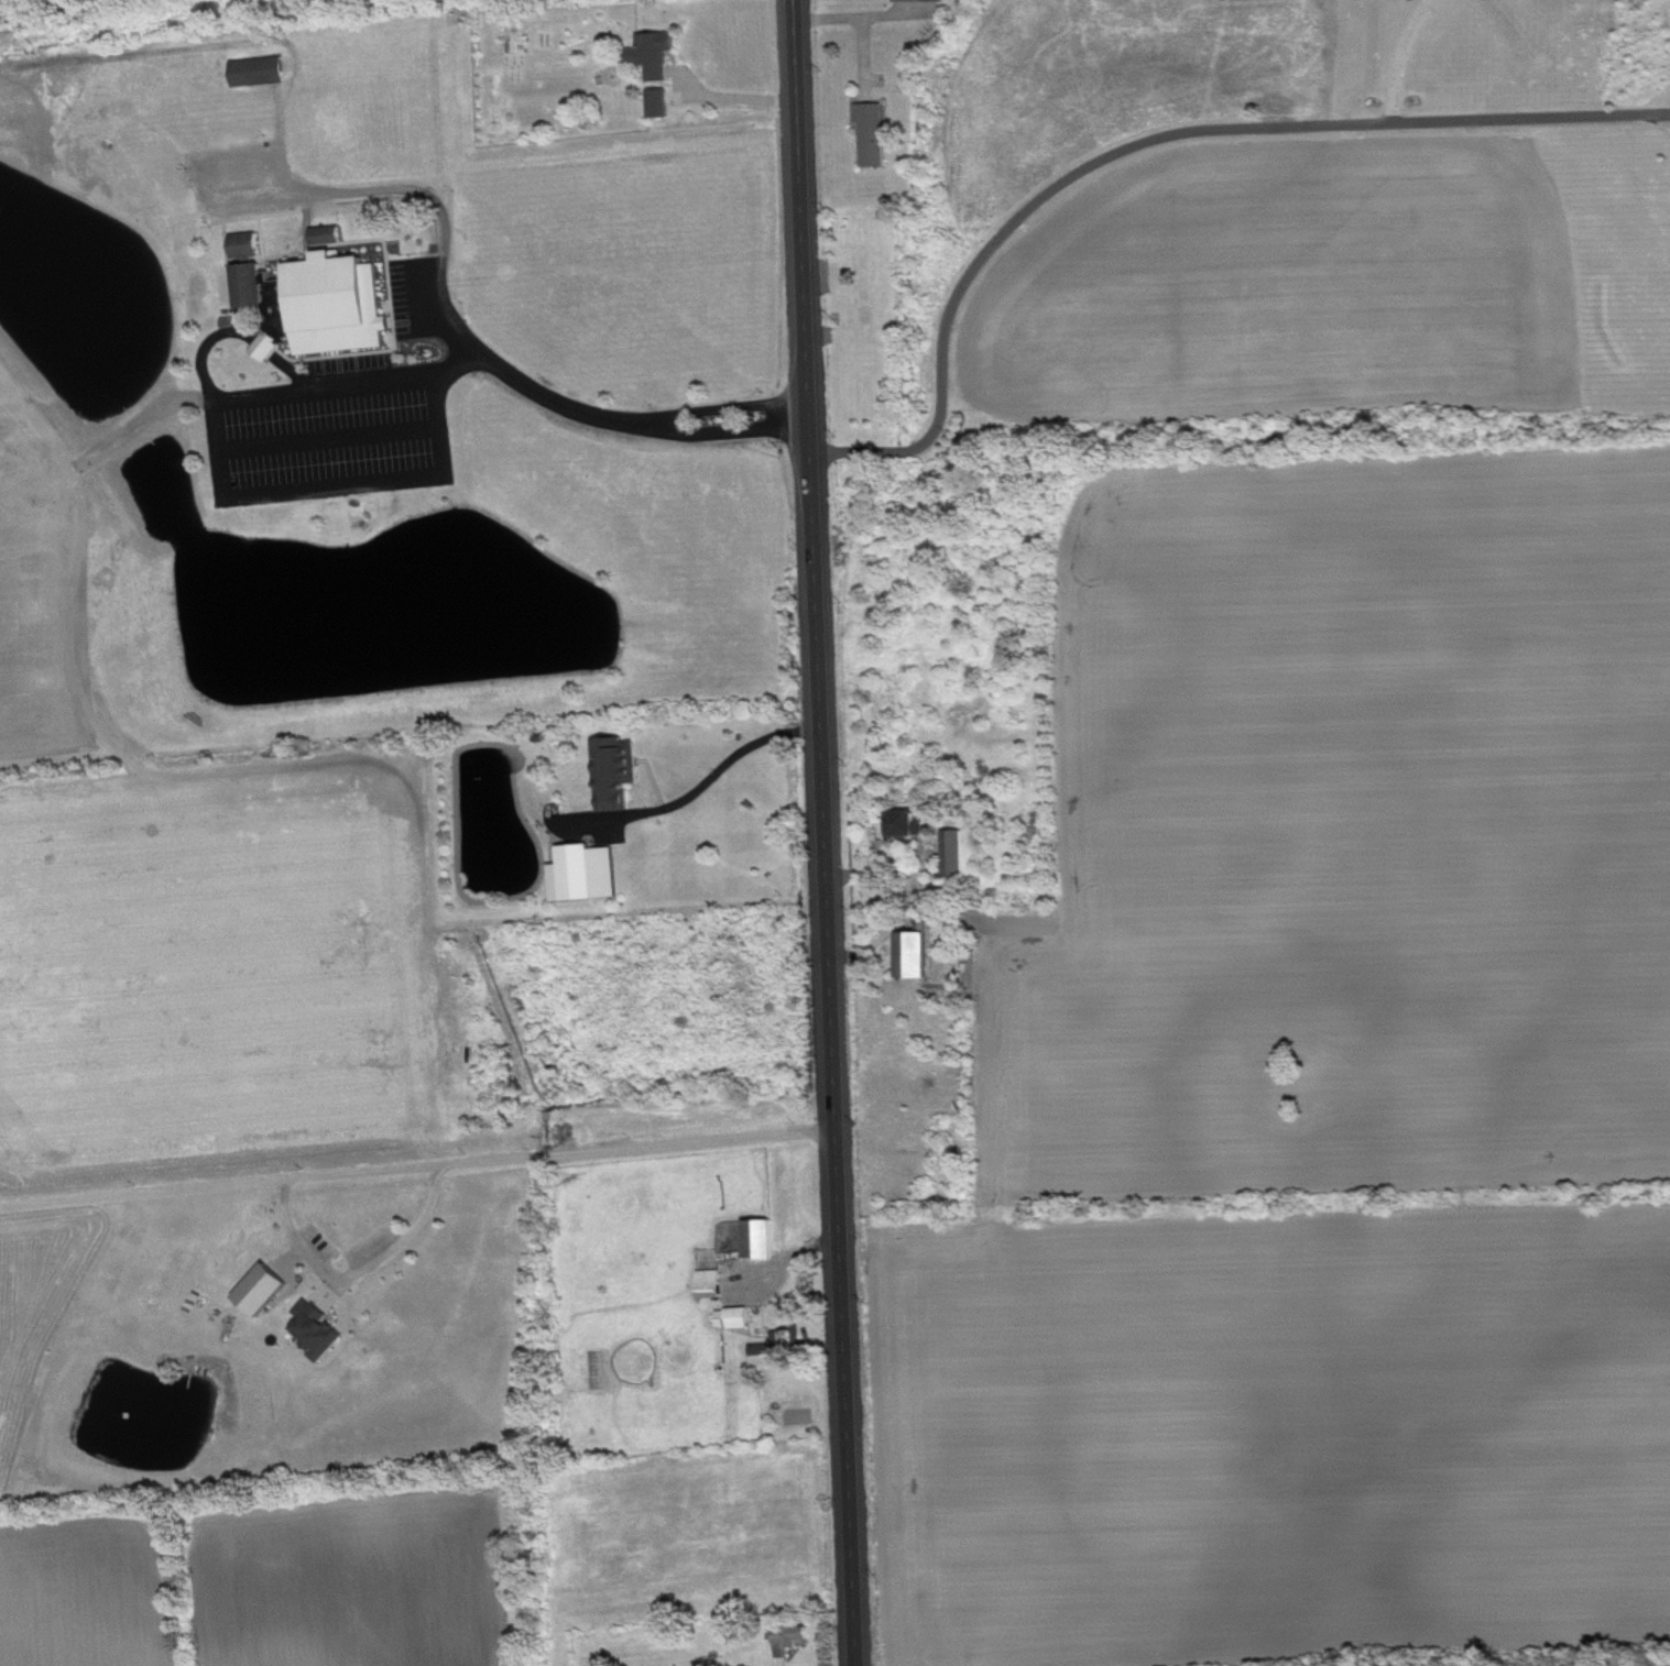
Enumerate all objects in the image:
building: (925, 1)
road: (854, 22)
building: (658, 55)
road: (1406, 59)
building: (264, 73)
building: (664, 105)
road: (1667, 119)
building: (877, 134)
road: (1150, 143)
building: (334, 237)
building: (251, 245)
building: (269, 293)
building: (342, 306)
road: (456, 326)
building: (273, 348)
road: (679, 423)
road: (244, 496)
building: (621, 774)
road: (697, 798)
building: (909, 825)
road: (827, 832)
building: (959, 855)
building: (589, 875)
building: (919, 956)
road: (419, 1171)
building: (765, 1241)
road: (364, 1276)
building: (716, 1286)
building: (268, 1291)
building: (741, 1318)
building: (323, 1331)
building: (784, 1346)
building: (796, 1641)

